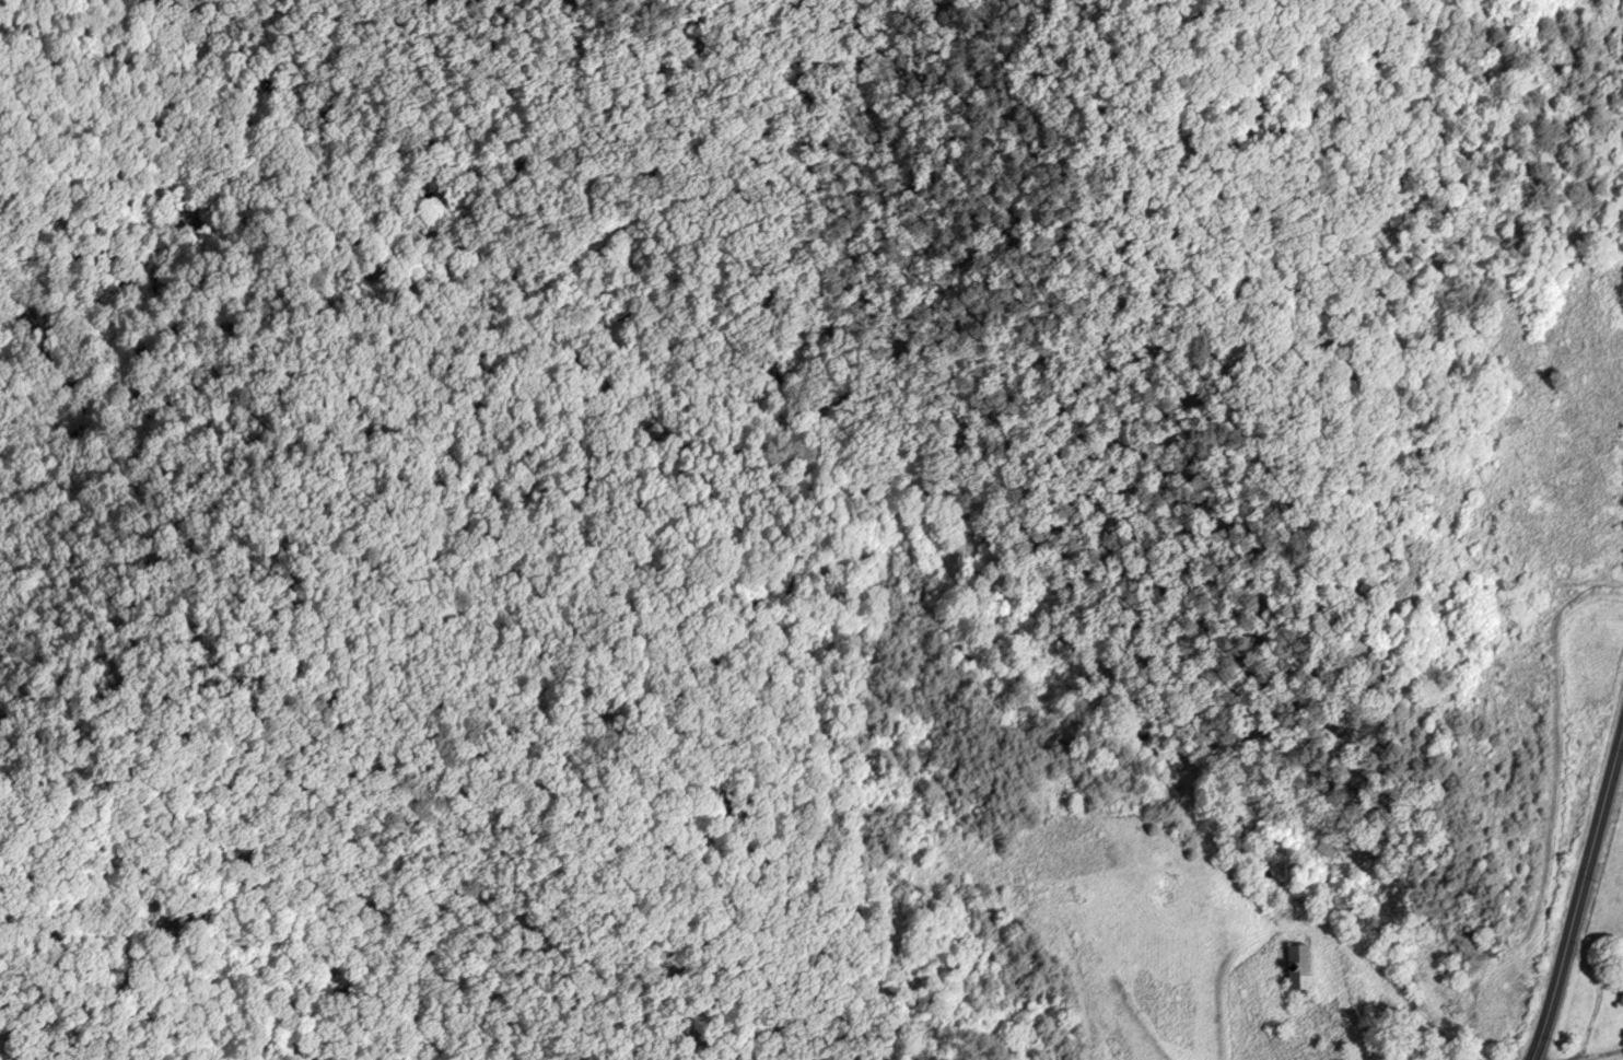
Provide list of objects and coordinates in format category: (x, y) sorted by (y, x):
building: (1328, 848)
road: (1581, 898)
crop: (1610, 902)
road: (1327, 935)
building: (1301, 968)
building: (1622, 1007)
road: (1599, 1052)

